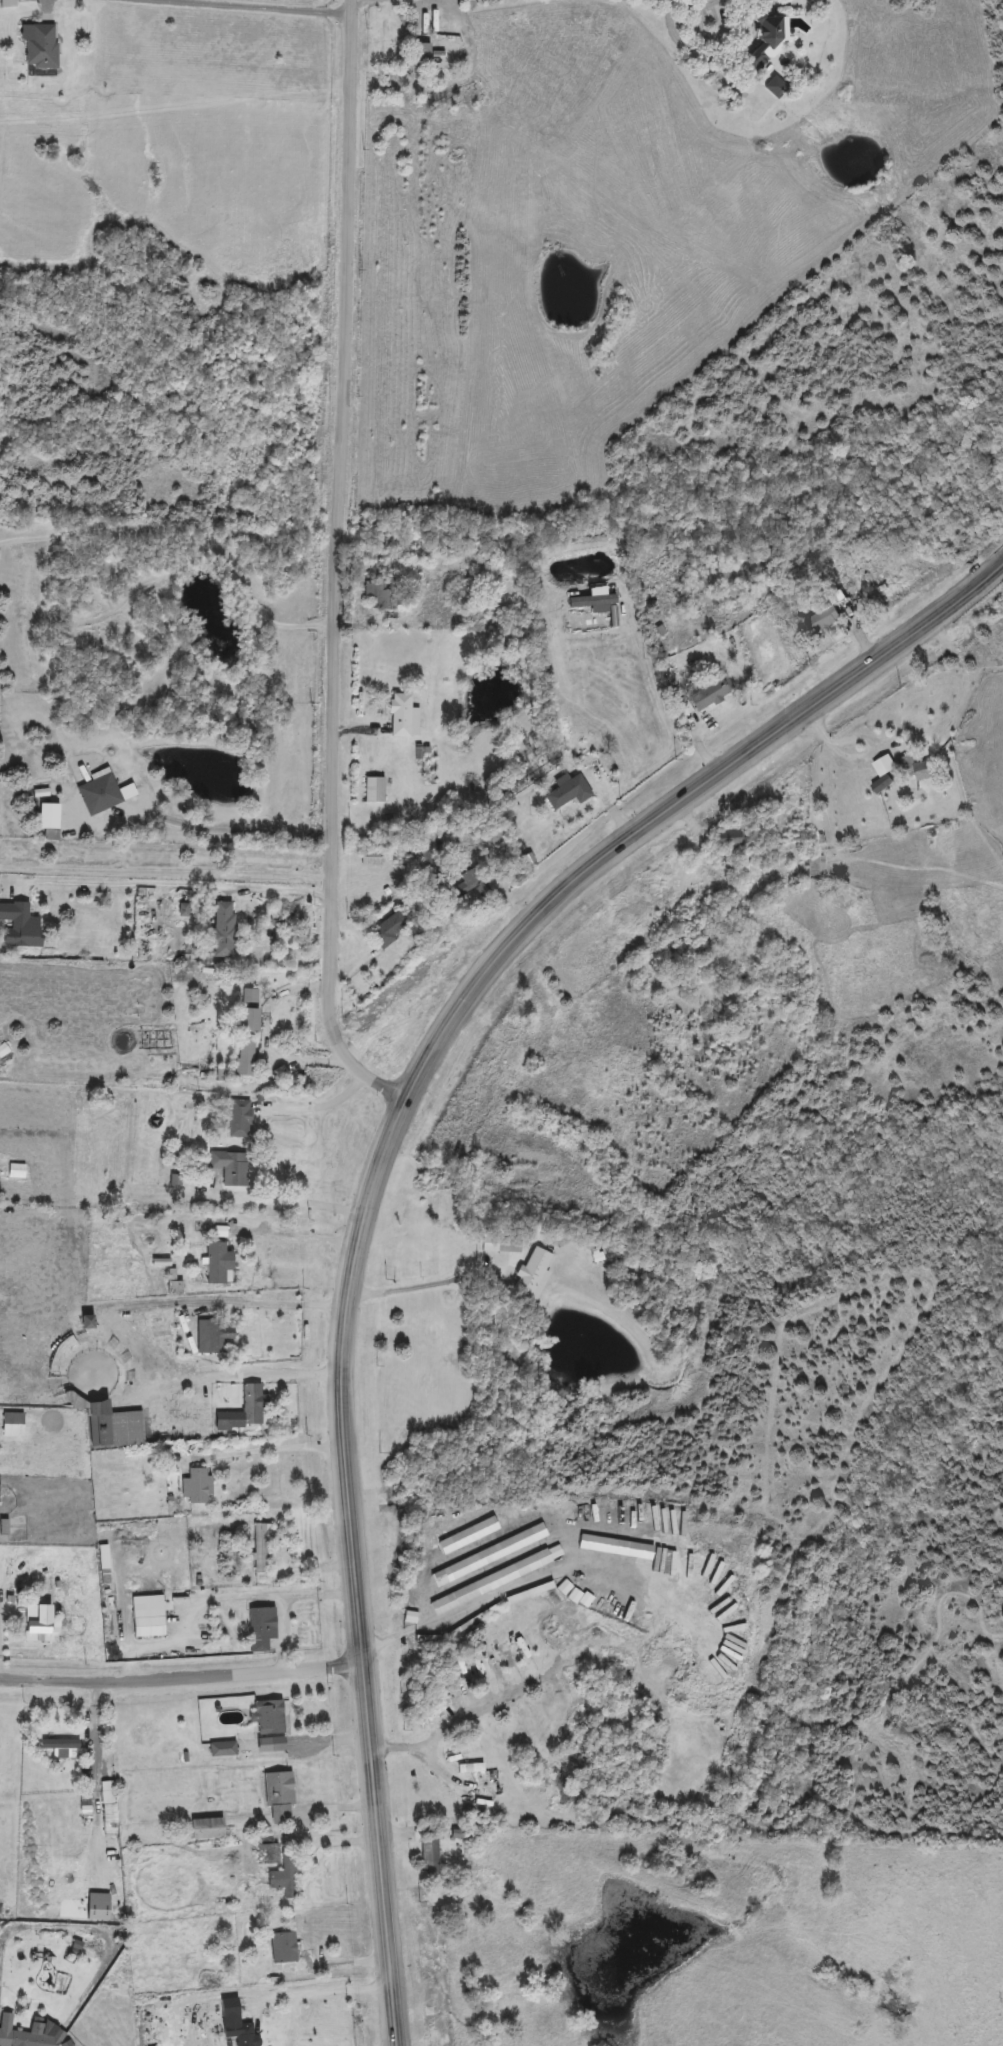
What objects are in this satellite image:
road: (677, 0)
building: (9, 4)
road: (267, 6)
road: (721, 36)
building: (766, 42)
building: (42, 47)
building: (423, 56)
road: (186, 535)
road: (338, 568)
building: (384, 596)
building: (465, 596)
building: (825, 614)
building: (712, 696)
building: (404, 718)
road: (923, 740)
building: (914, 769)
building: (375, 790)
building: (569, 794)
building: (100, 795)
road: (234, 830)
building: (52, 832)
building: (731, 842)
building: (374, 858)
road: (166, 872)
building: (471, 885)
road: (175, 886)
building: (21, 927)
building: (389, 930)
building: (224, 931)
building: (248, 1041)
road: (310, 1062)
road: (324, 1106)
building: (240, 1120)
road: (379, 1165)
building: (230, 1168)
building: (18, 1173)
road: (294, 1202)
road: (295, 1237)
building: (502, 1244)
building: (220, 1265)
building: (533, 1273)
road: (422, 1286)
building: (176, 1289)
road: (273, 1304)
building: (214, 1337)
road: (294, 1372)
building: (249, 1410)
road: (271, 1451)
building: (196, 1488)
building: (261, 1549)
building: (193, 1563)
road: (219, 1591)
building: (28, 1609)
building: (149, 1623)
building: (260, 1630)
road: (283, 1630)
building: (563, 1635)
road: (182, 1678)
road: (467, 1713)
building: (435, 1716)
building: (270, 1726)
building: (62, 1746)
building: (224, 1751)
building: (472, 1770)
building: (281, 1798)
road: (299, 1822)
building: (208, 1830)
building: (431, 1855)
building: (285, 1877)
building: (284, 1949)
road: (315, 1993)
building: (230, 2009)
building: (241, 2032)
building: (31, 2040)

